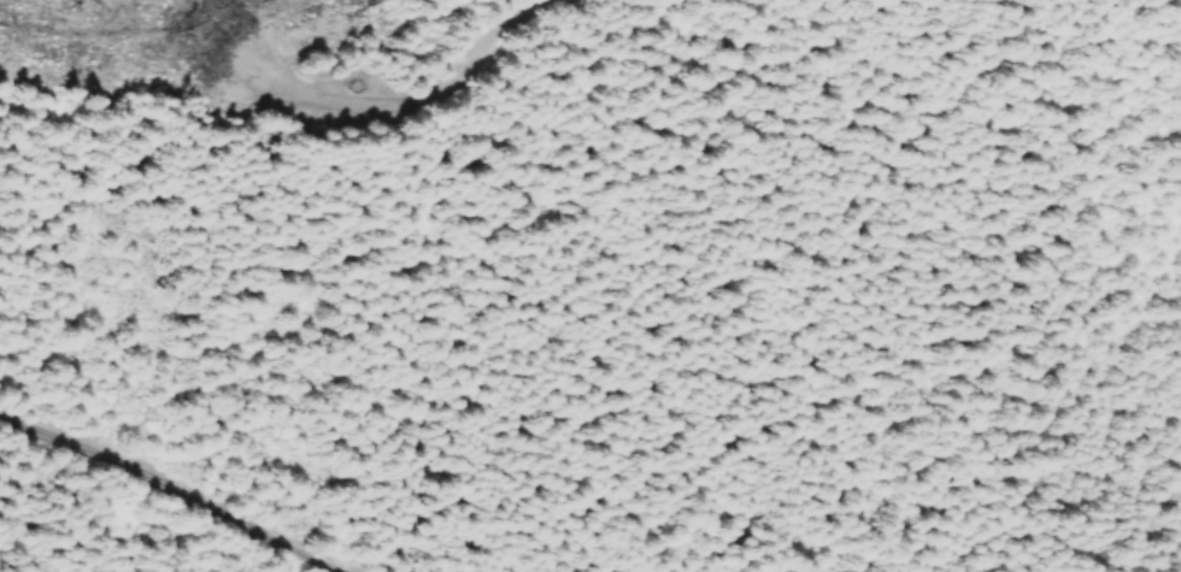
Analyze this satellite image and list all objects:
road: (474, 69)
road: (169, 485)

